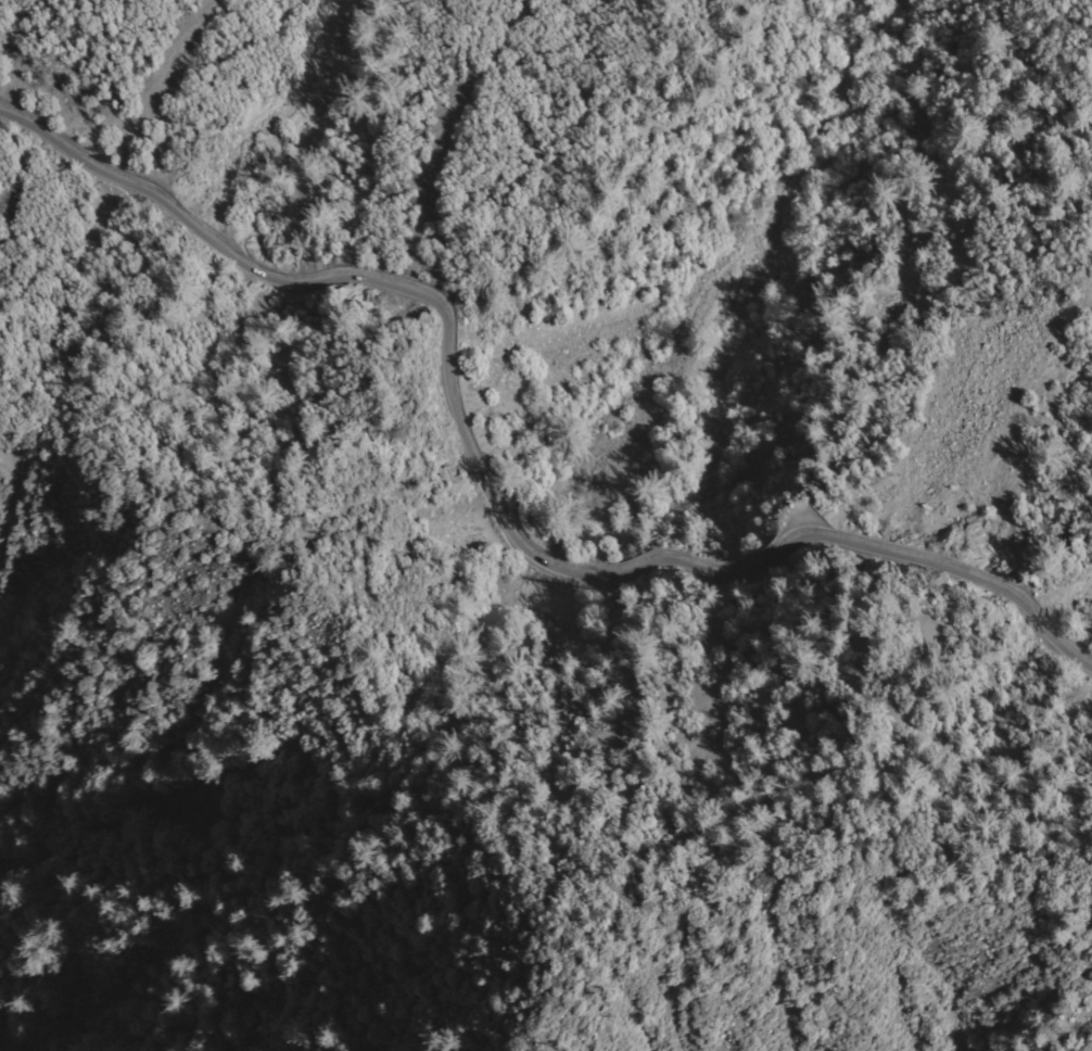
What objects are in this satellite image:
road: (480, 498)
road: (417, 731)
road: (812, 888)

